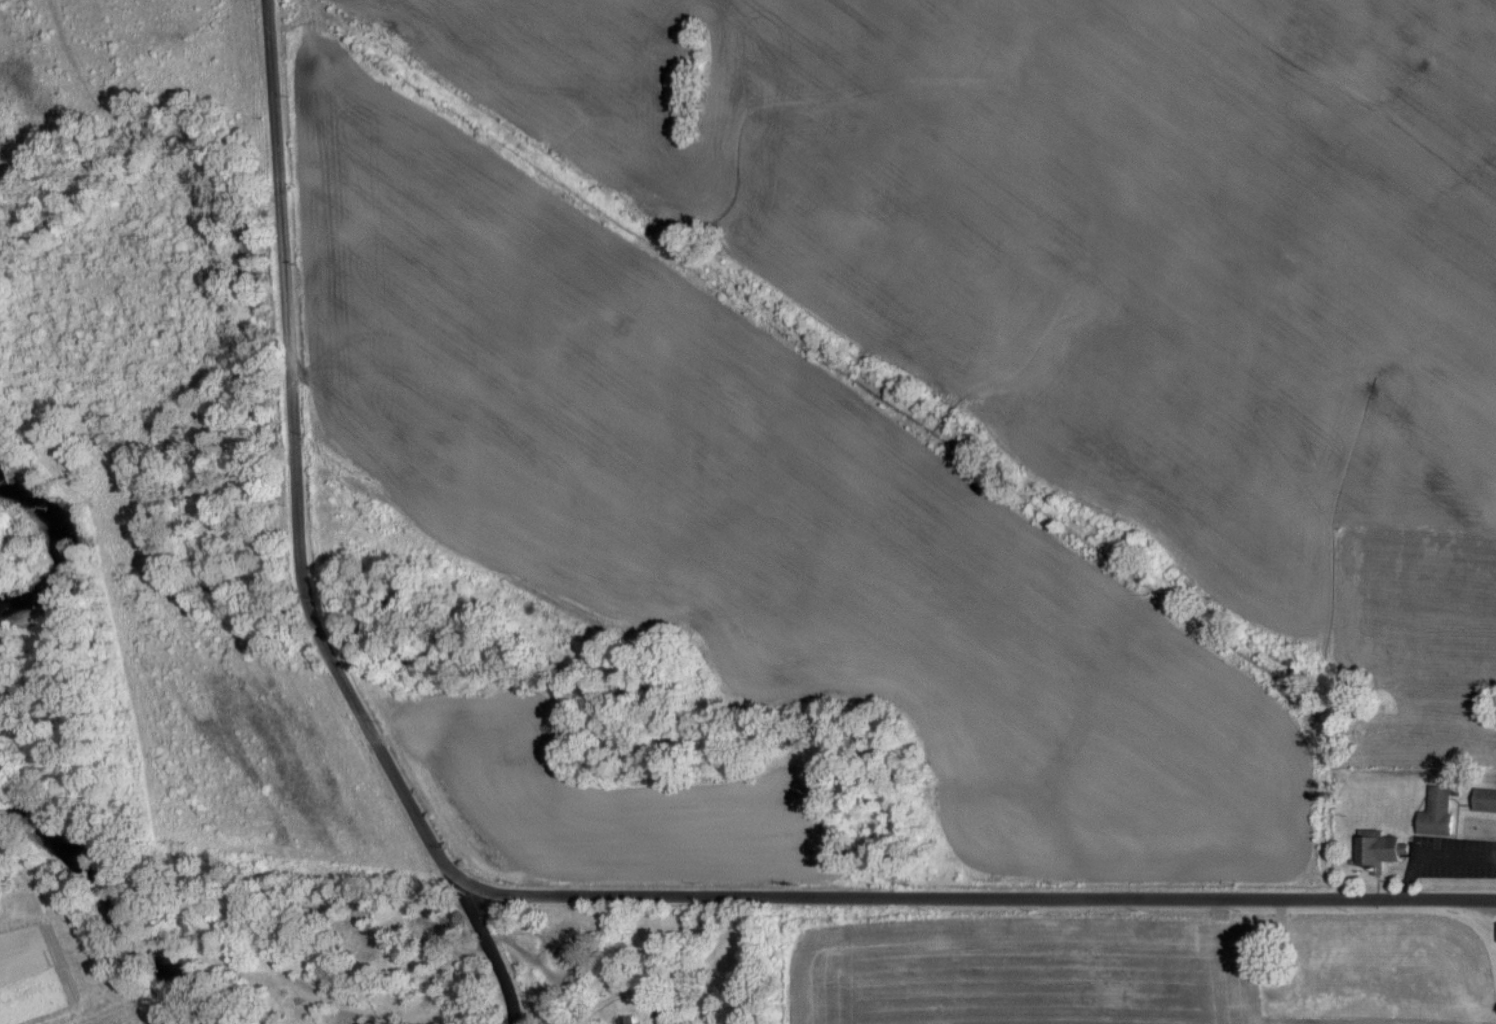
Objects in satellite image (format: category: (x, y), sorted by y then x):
river: (54, 562)
building: (1482, 798)
building: (1433, 810)
building: (1377, 847)
road: (515, 893)
river: (108, 909)
road: (492, 951)
building: (623, 1019)

